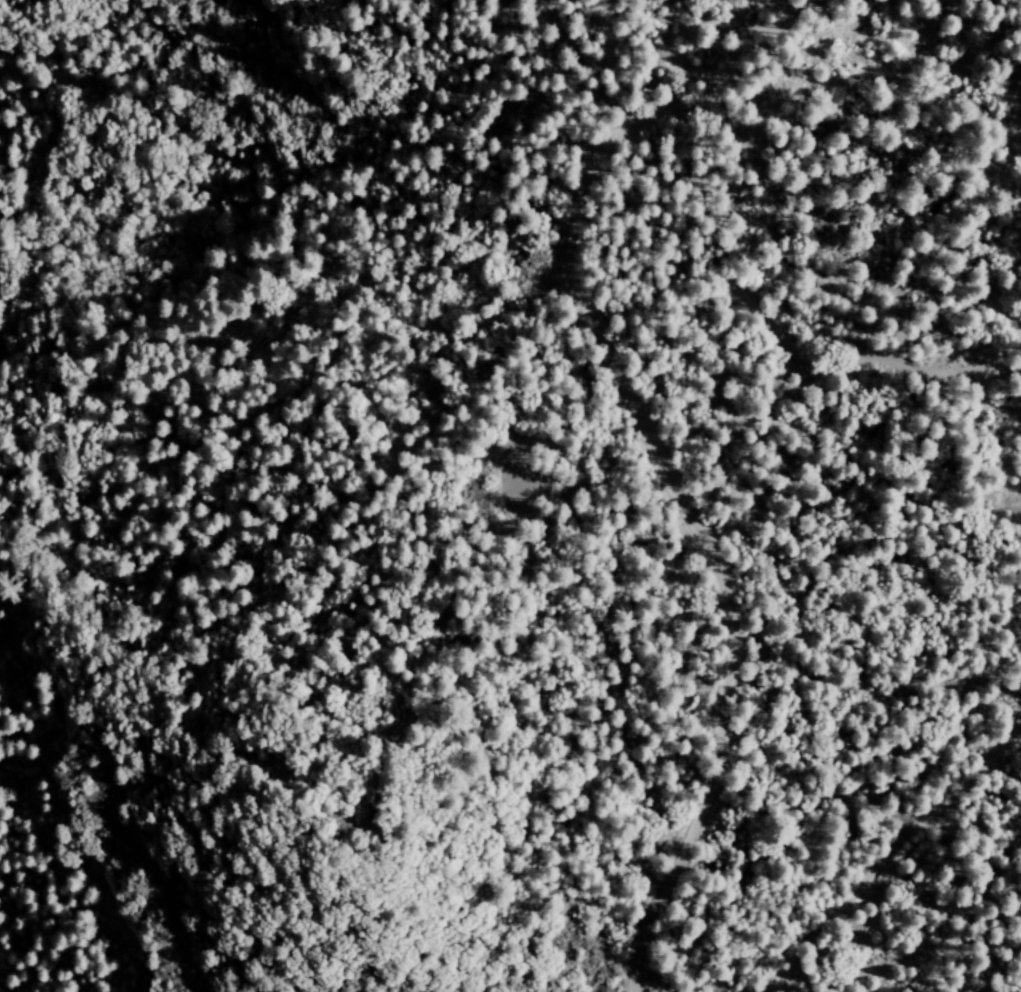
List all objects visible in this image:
road: (627, 397)
road: (890, 852)

